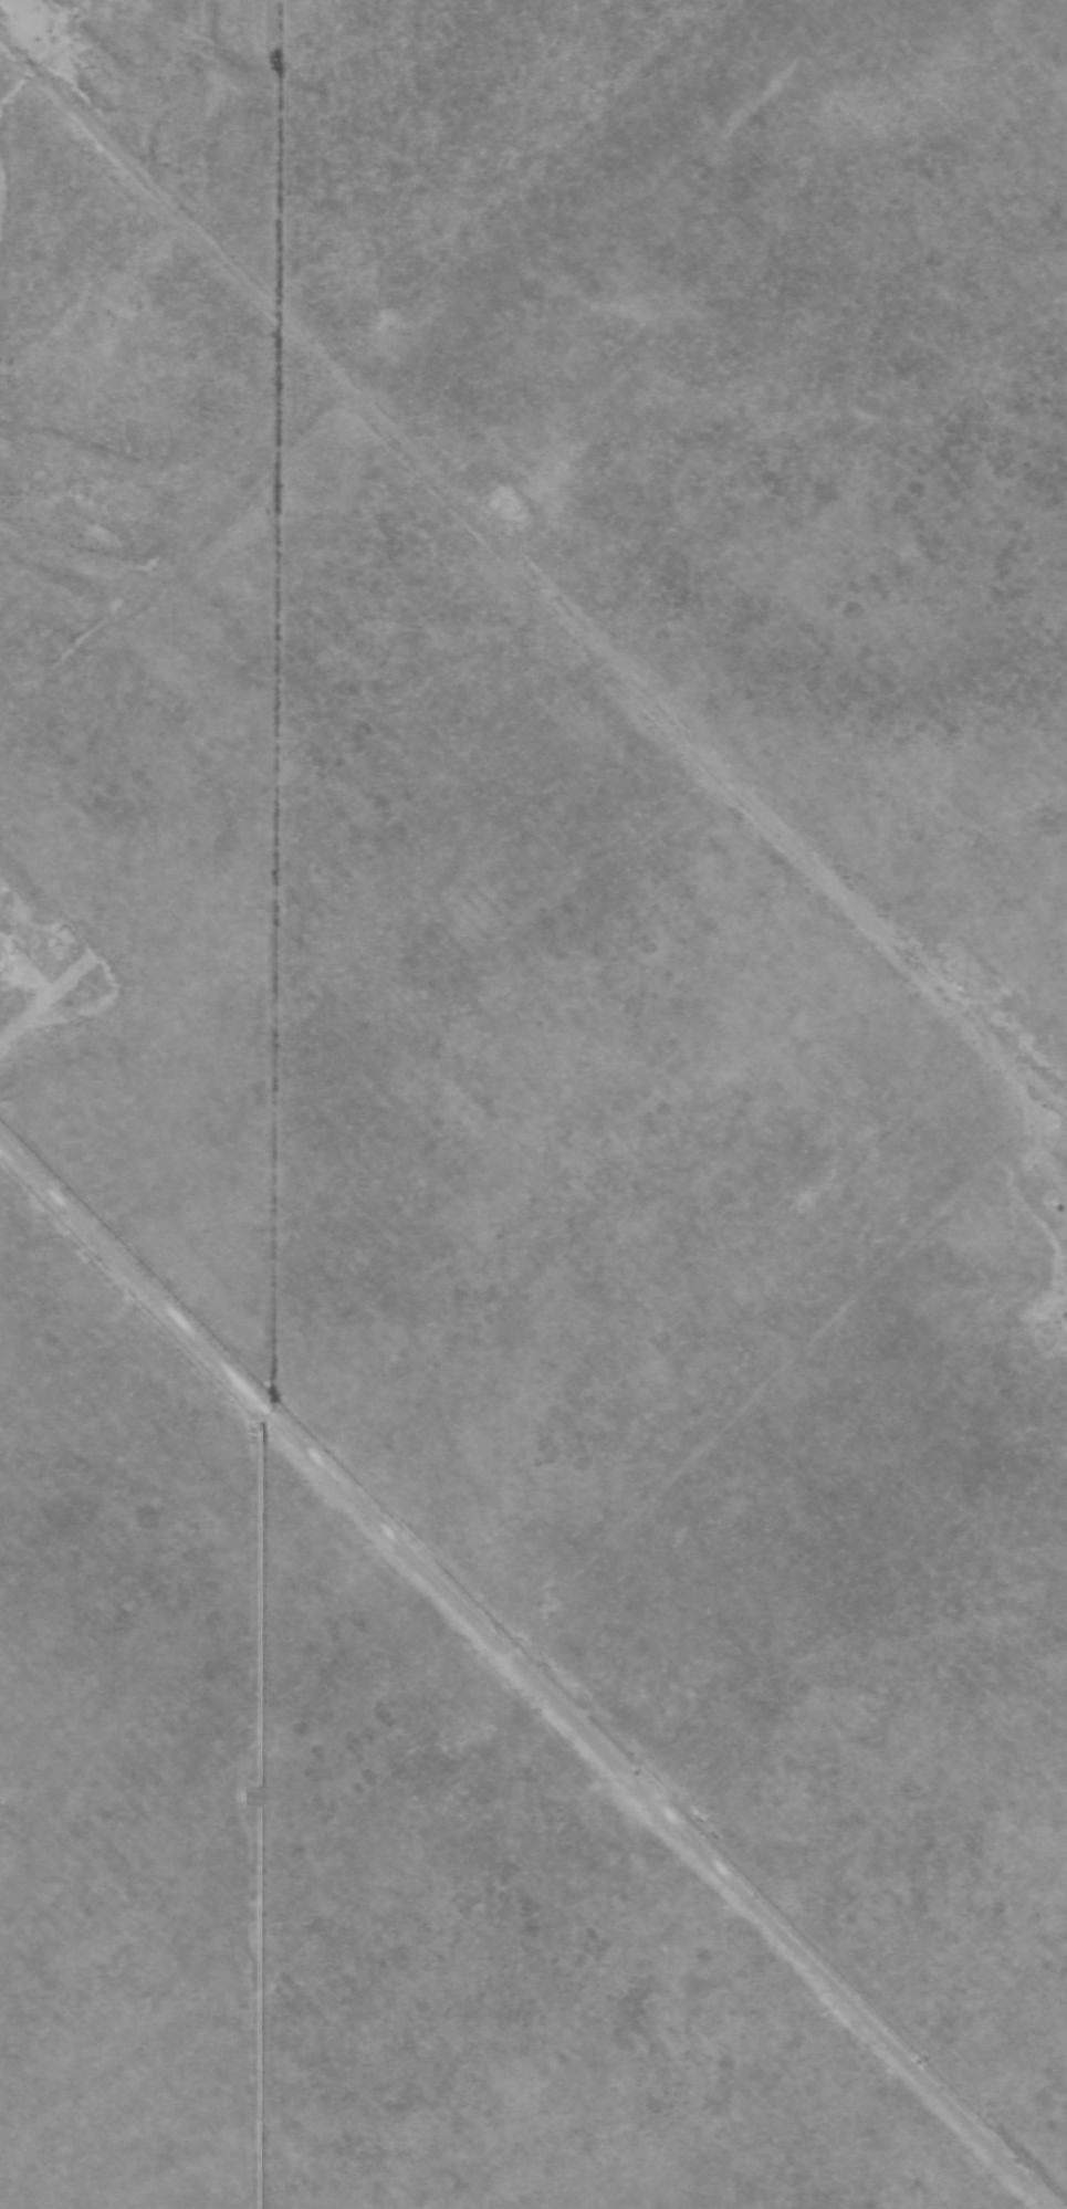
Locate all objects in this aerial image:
road: (280, 324)
road: (279, 587)
road: (814, 867)
road: (523, 1676)

